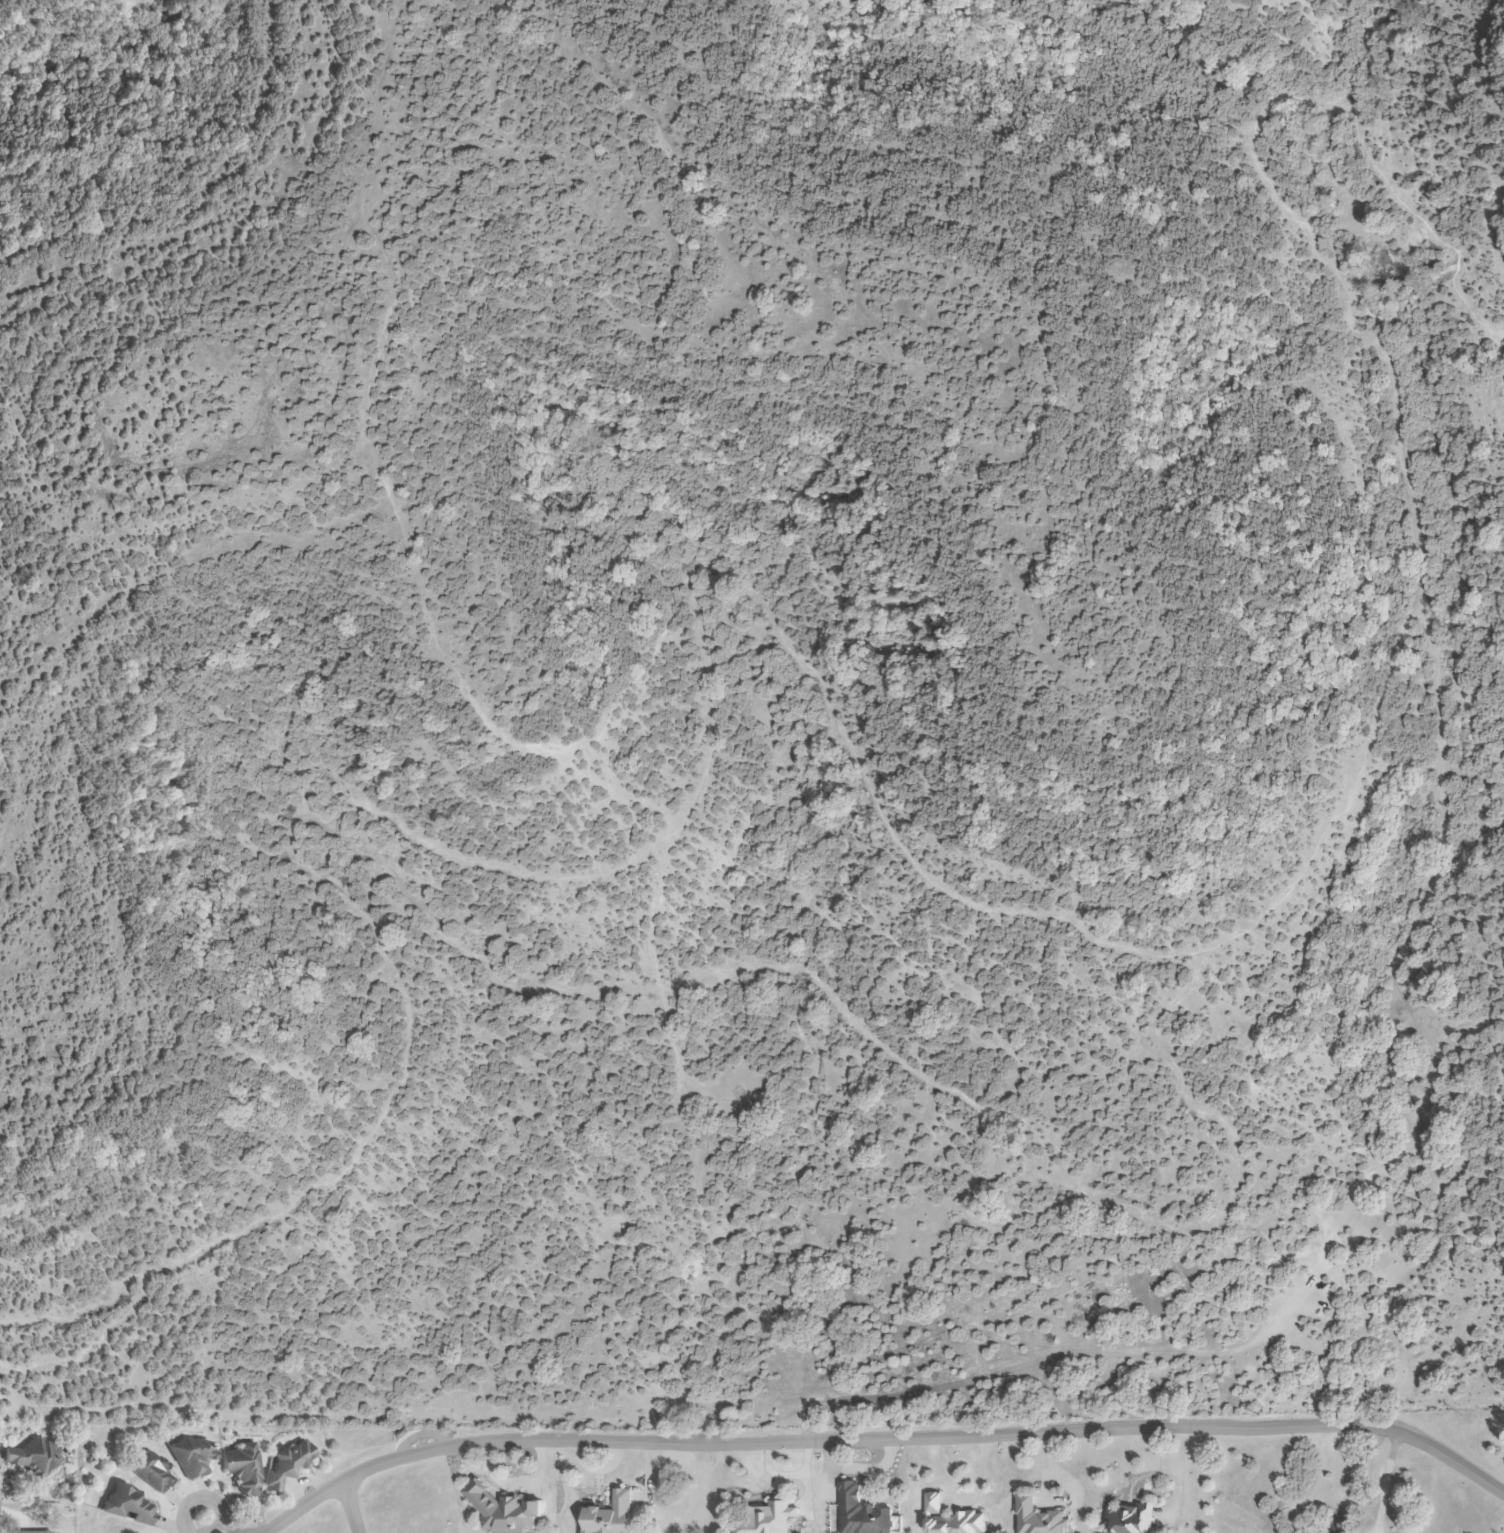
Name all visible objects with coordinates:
road: (884, 1441)
building: (33, 1457)
building: (190, 1457)
building: (284, 1467)
building: (241, 1469)
building: (149, 1471)
road: (1201, 1480)
road: (962, 1499)
road: (205, 1500)
building: (126, 1505)
road: (355, 1506)
building: (504, 1513)
building: (860, 1513)
building: (608, 1516)
building: (763, 1518)
building: (1037, 1518)
building: (950, 1519)
building: (1131, 1519)

